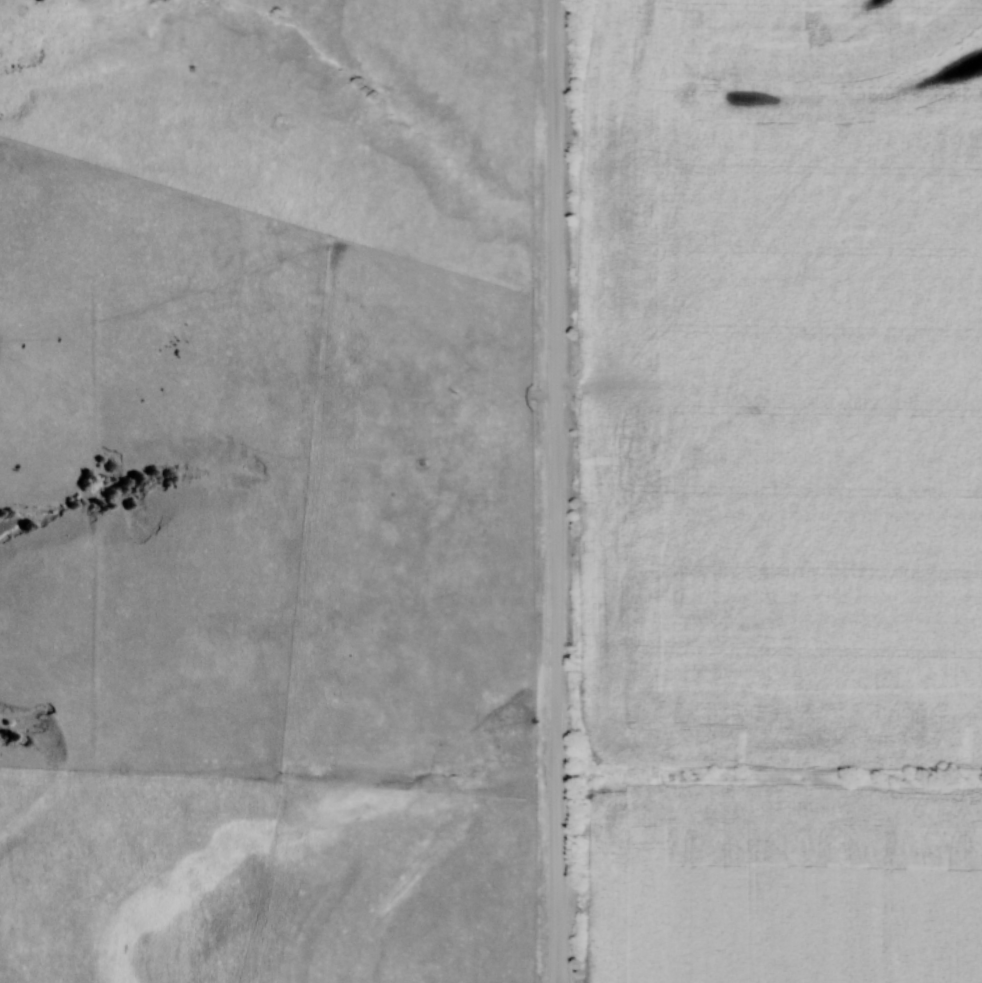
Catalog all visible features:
road: (551, 491)

